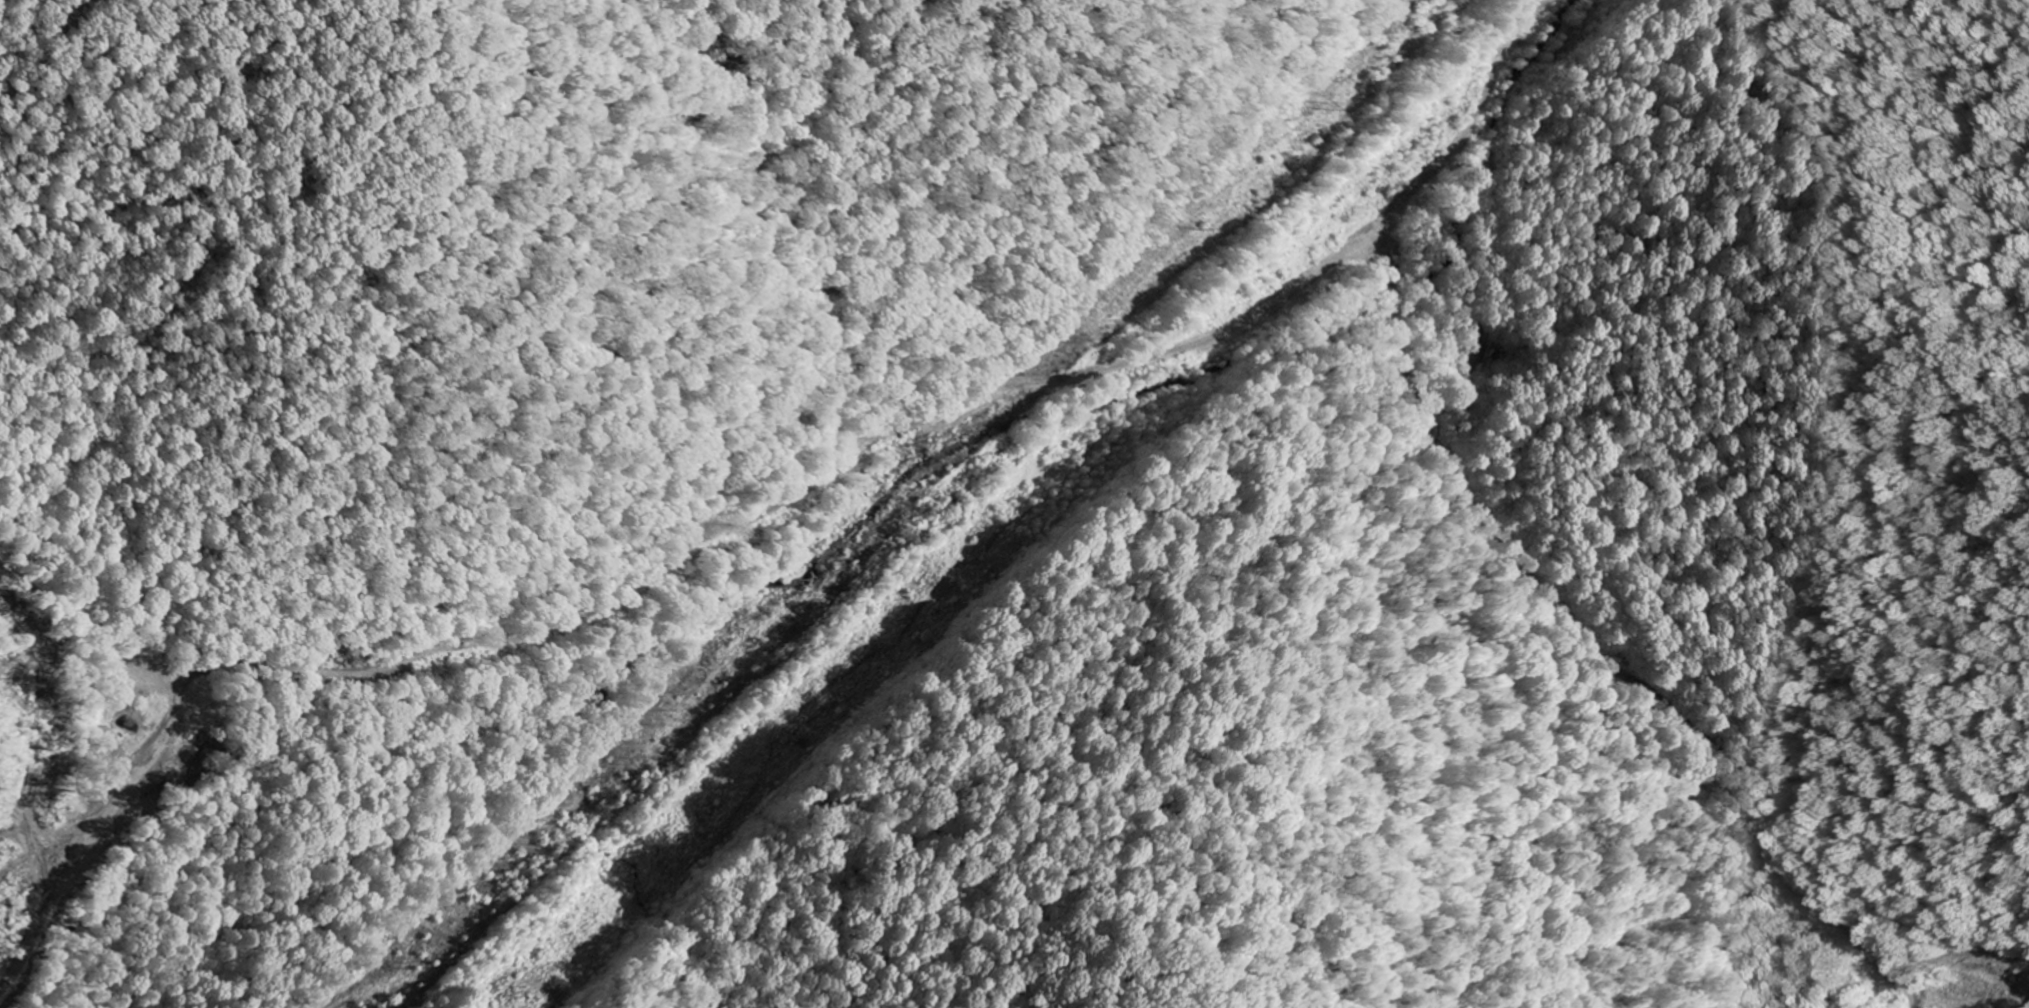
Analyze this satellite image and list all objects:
road: (795, 497)
power tower: (504, 1000)

